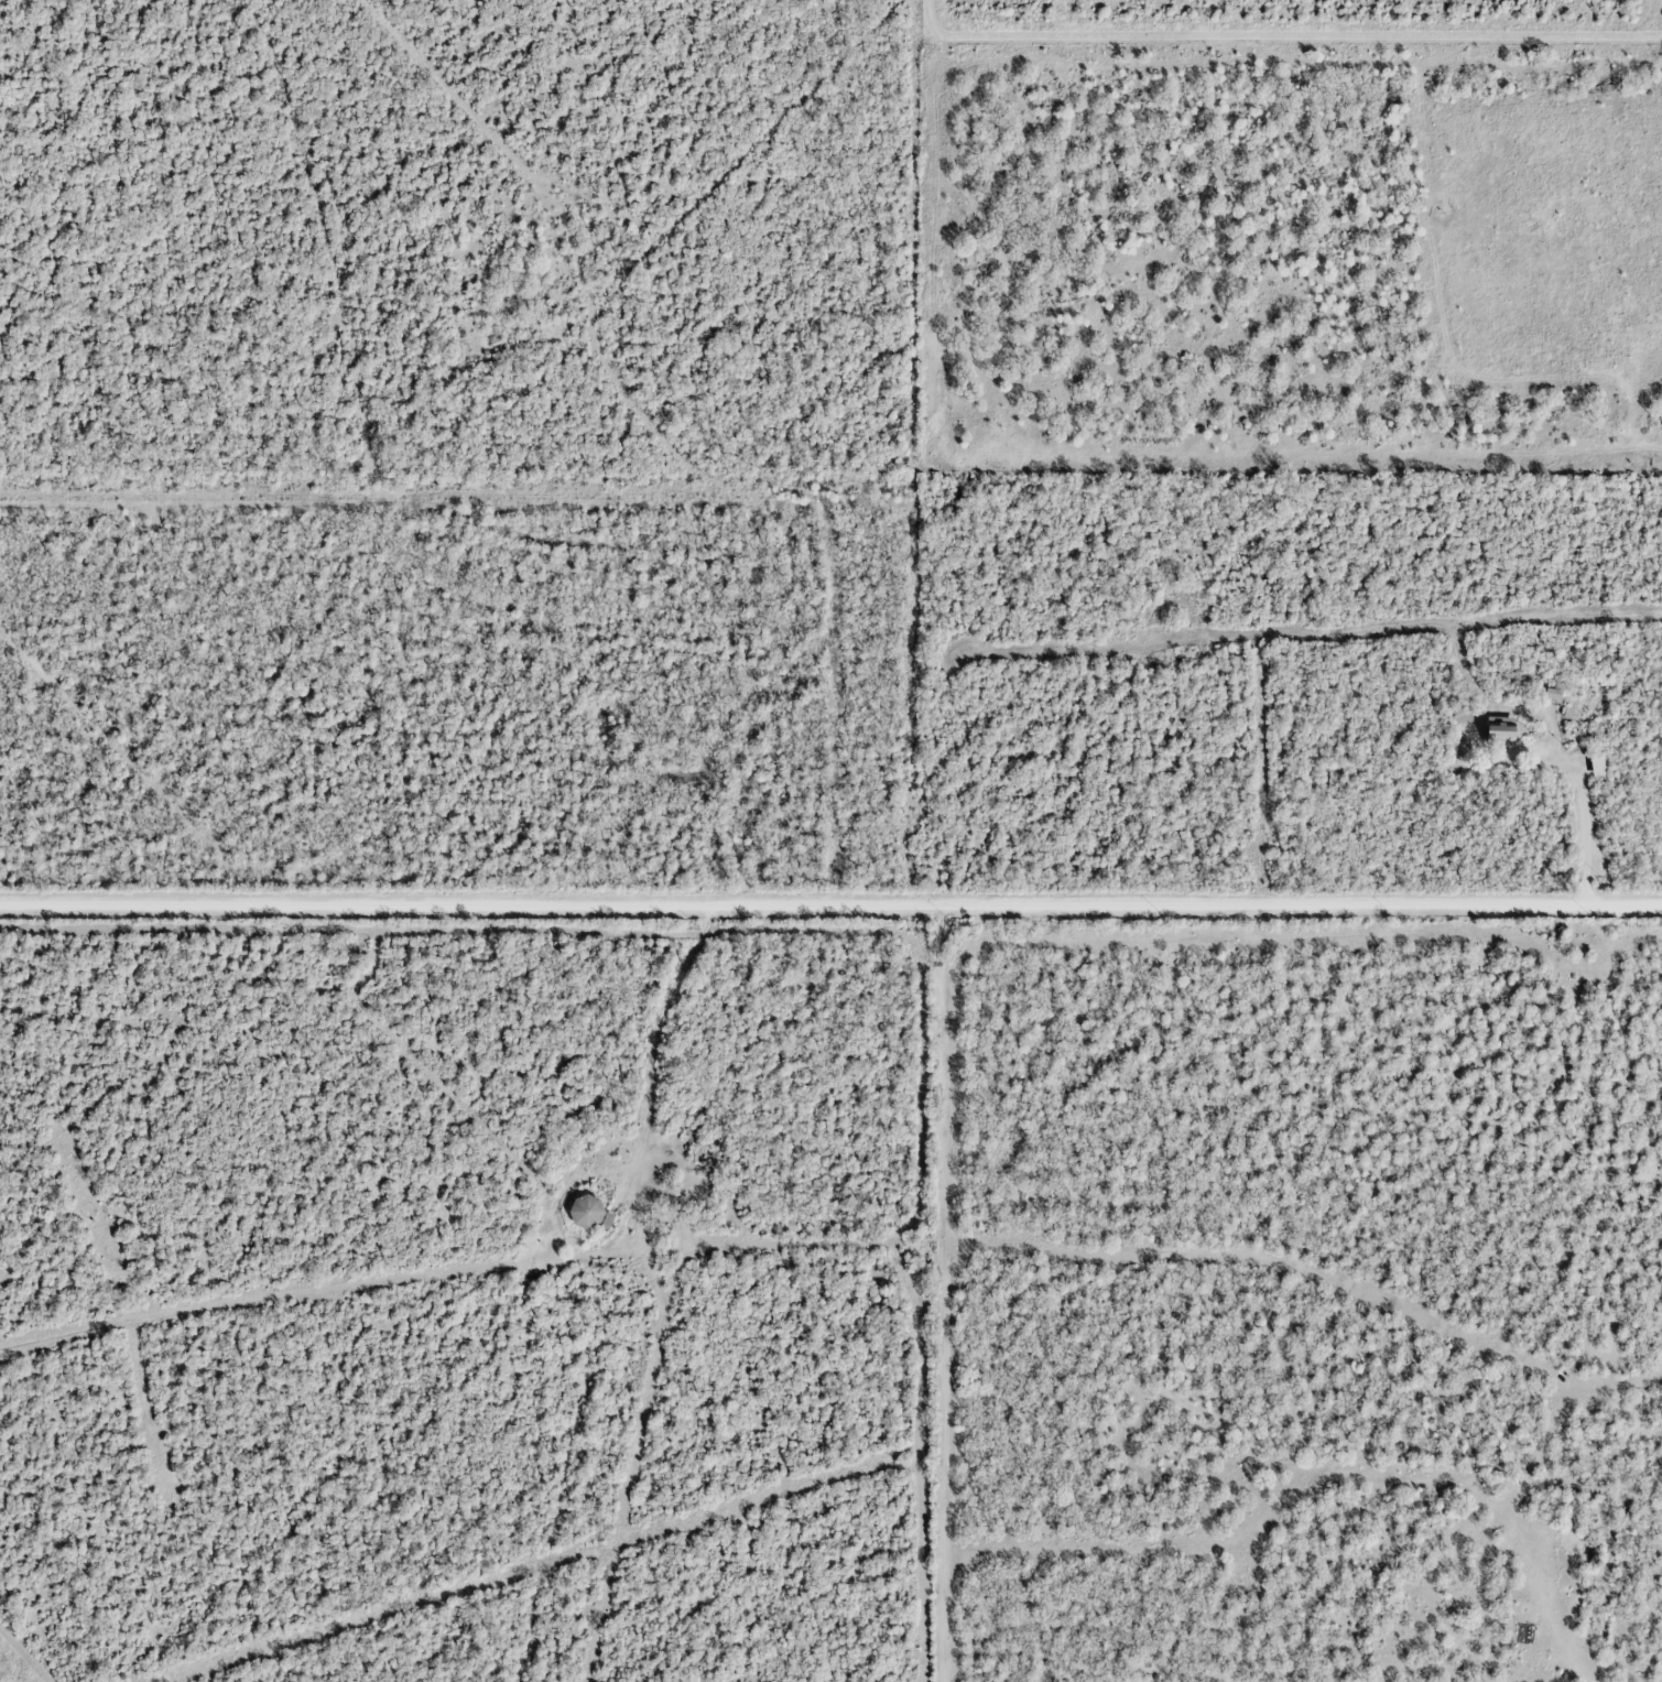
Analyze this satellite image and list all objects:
building: (1551, 694)
building: (1498, 731)
building: (1597, 763)
road: (830, 908)
building: (586, 1209)

